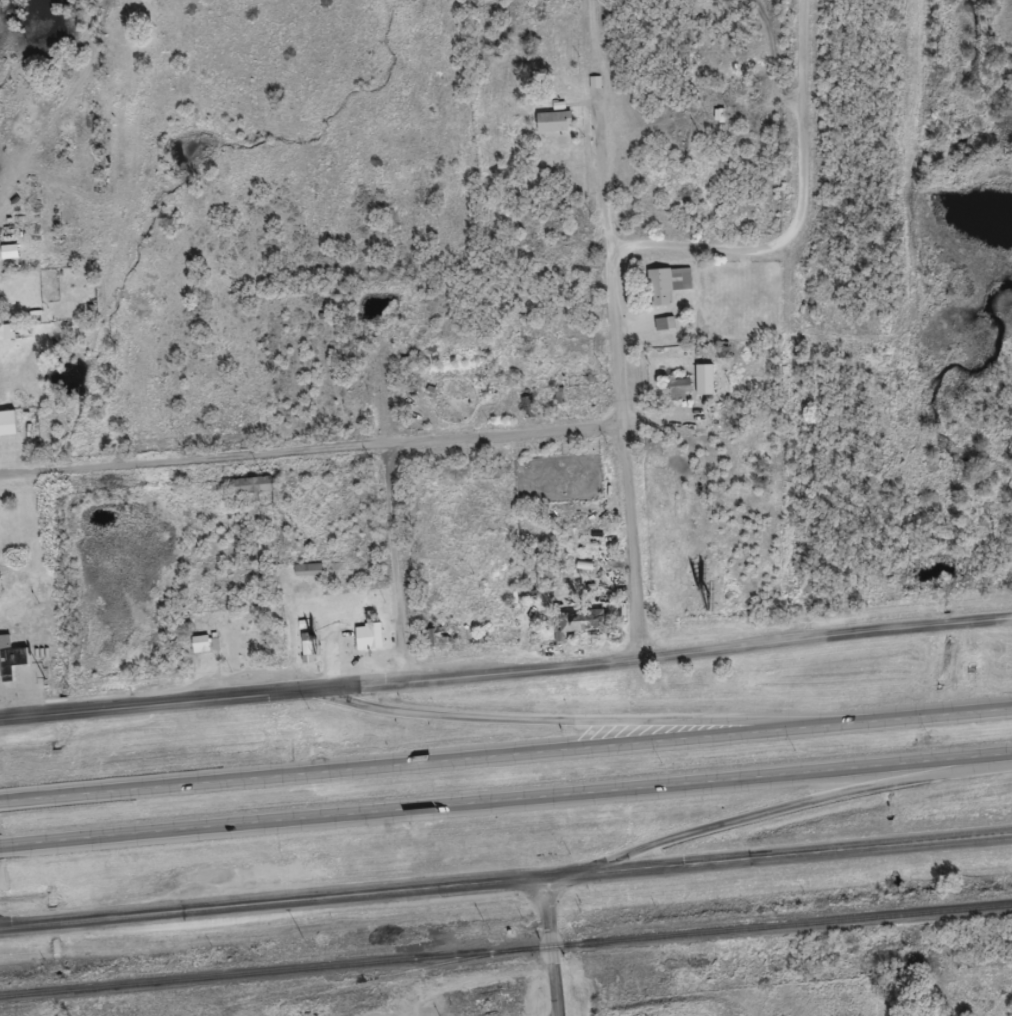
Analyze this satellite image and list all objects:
building: (592, 90)
road: (804, 116)
building: (551, 129)
road: (703, 247)
building: (7, 259)
building: (666, 291)
building: (6, 339)
road: (618, 377)
building: (702, 387)
building: (676, 396)
building: (6, 430)
road: (311, 453)
road: (398, 566)
building: (305, 577)
building: (576, 629)
building: (202, 651)
building: (305, 655)
building: (9, 665)
road: (506, 675)
road: (582, 718)
road: (510, 752)
road: (513, 796)
road: (5, 800)
road: (785, 803)
road: (8, 844)
road: (505, 878)
road: (552, 945)
railway: (506, 948)

